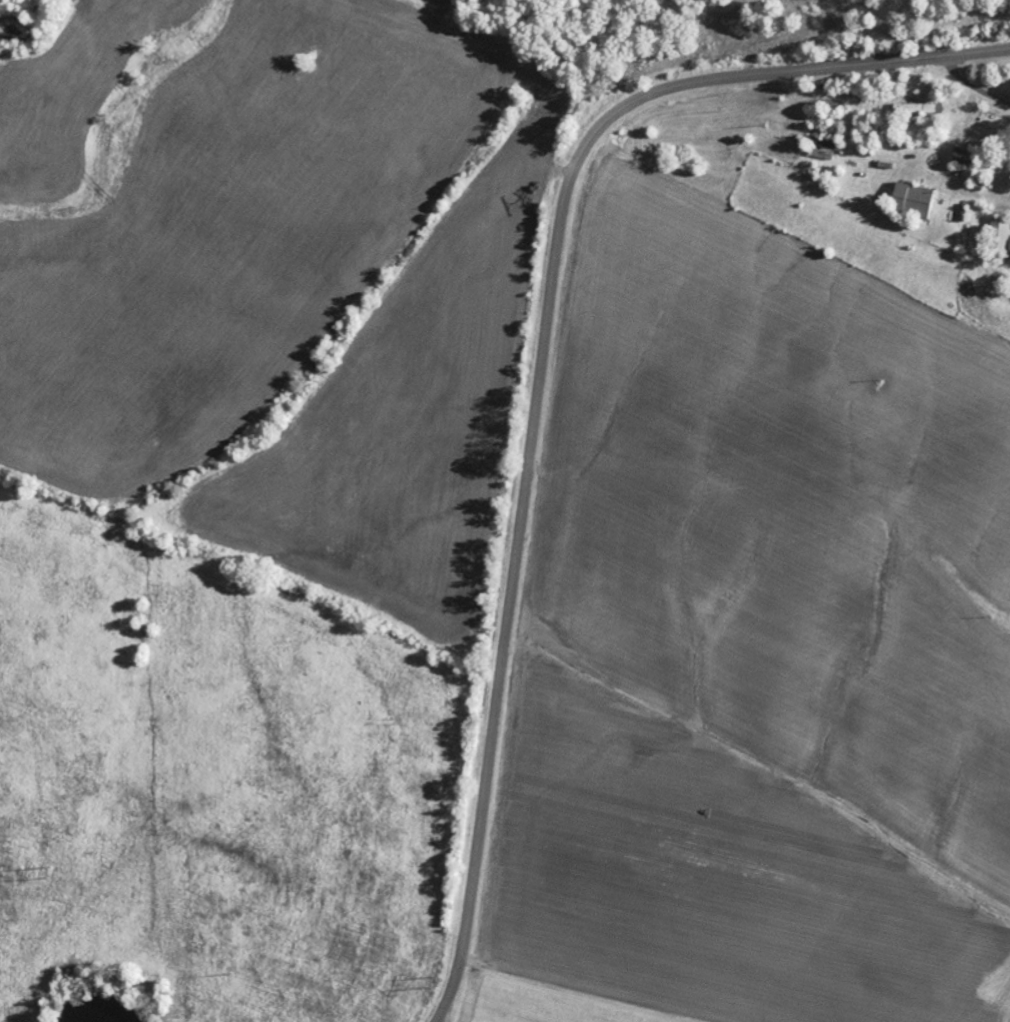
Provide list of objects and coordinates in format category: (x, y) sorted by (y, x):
building: (921, 108)
building: (917, 200)
building: (1002, 237)
road: (541, 363)
power tower: (52, 871)
power tower: (435, 979)

